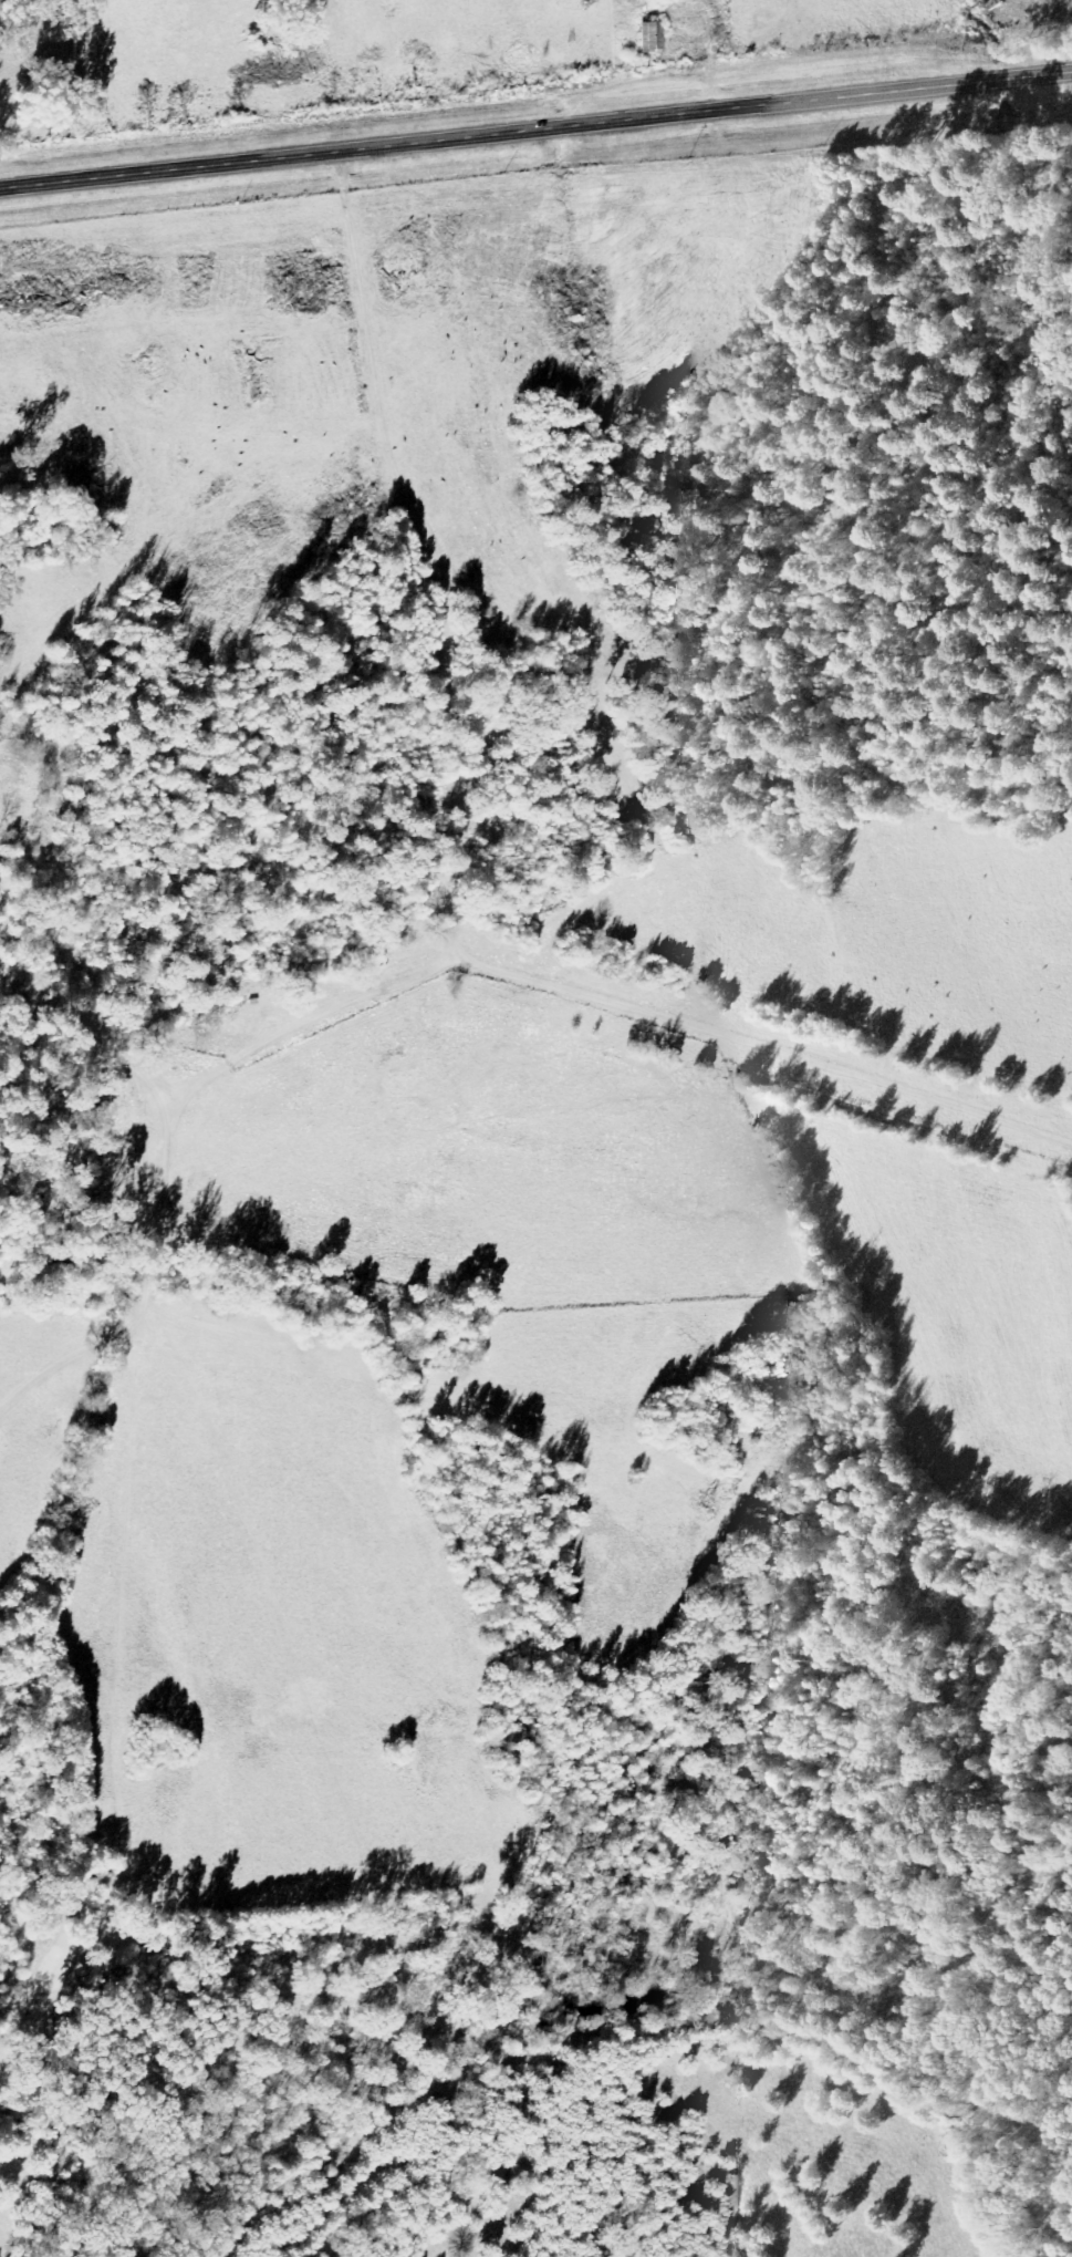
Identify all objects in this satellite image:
airport: (1064, 9)
building: (649, 37)
road: (535, 130)
road: (406, 609)

